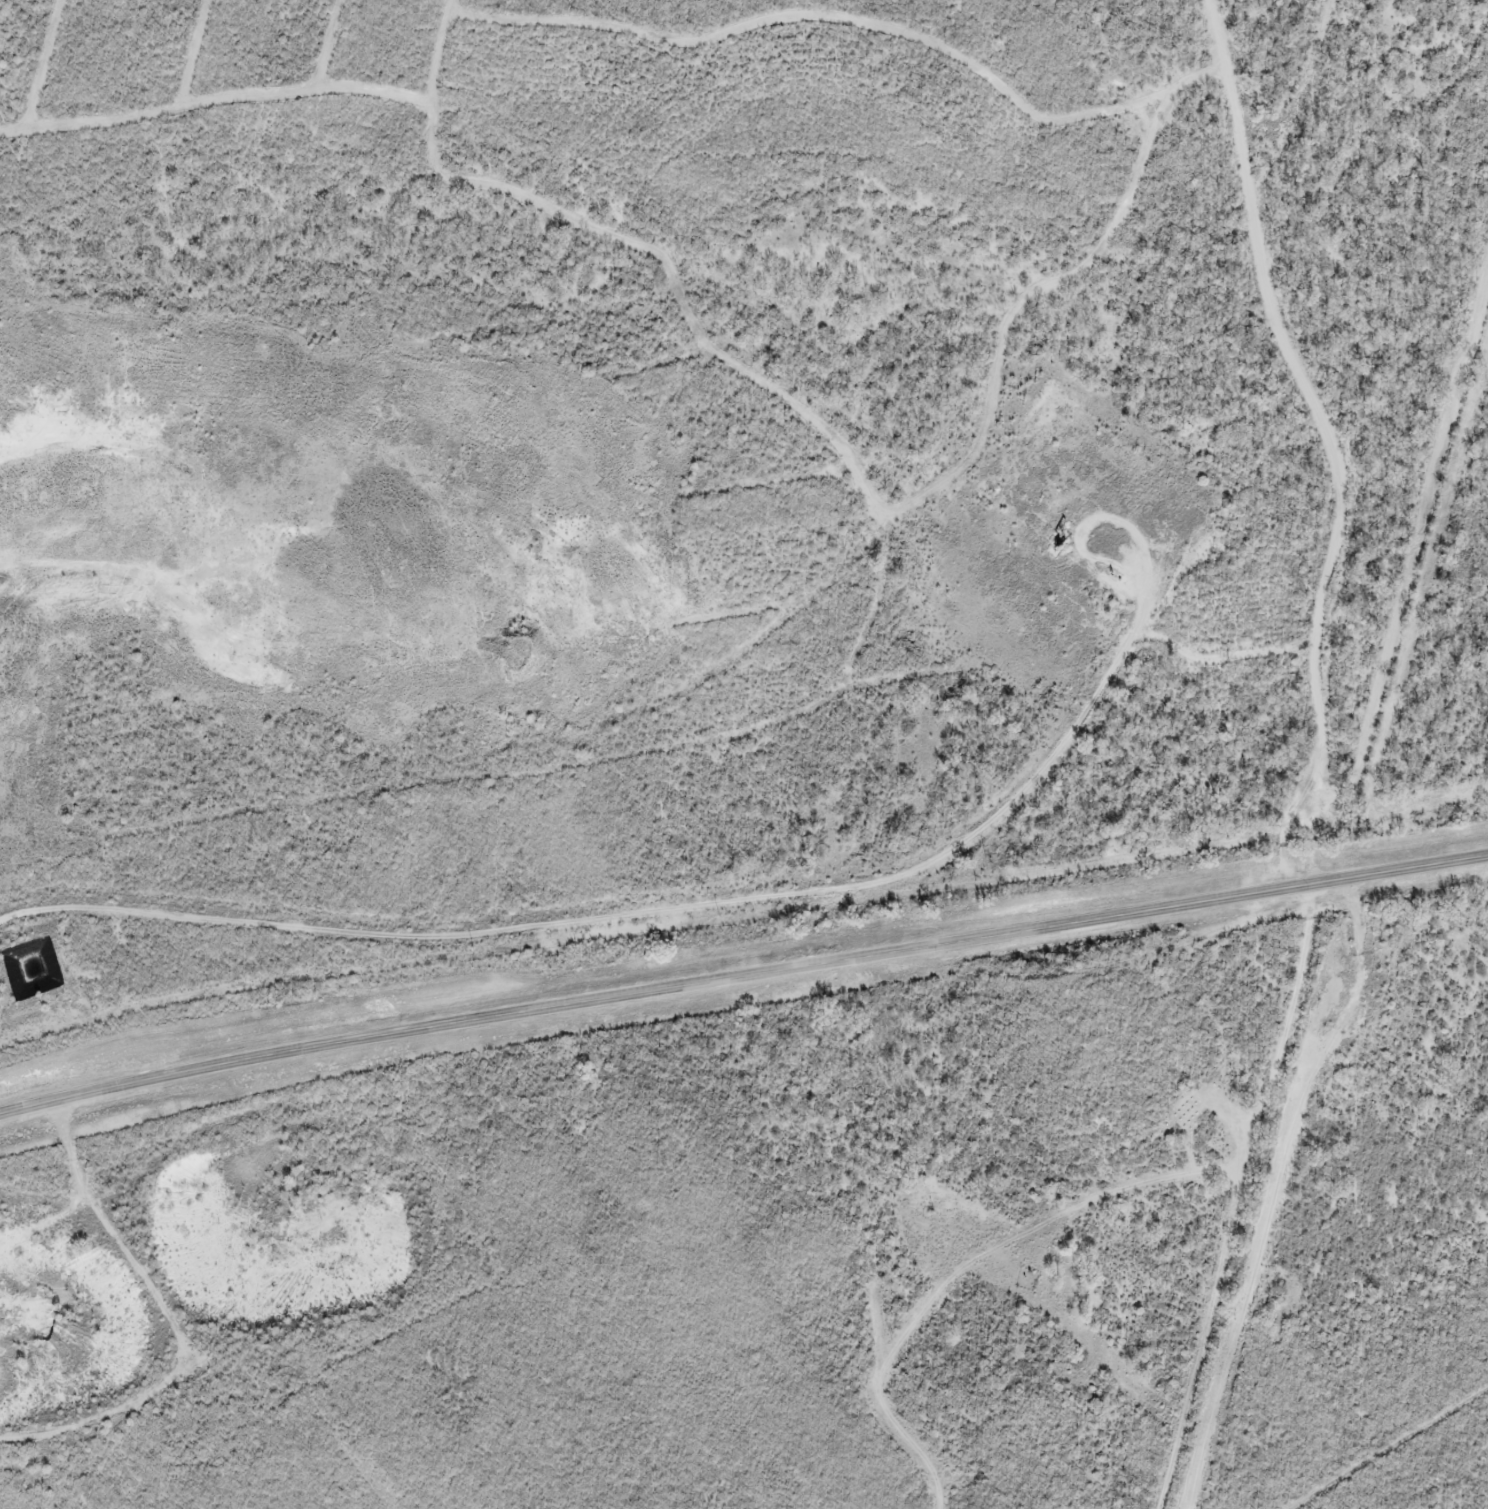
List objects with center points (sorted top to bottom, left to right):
road: (1311, 125)
road: (1253, 205)
road: (1083, 447)
road: (742, 976)
road: (1135, 1181)
road: (227, 1304)

